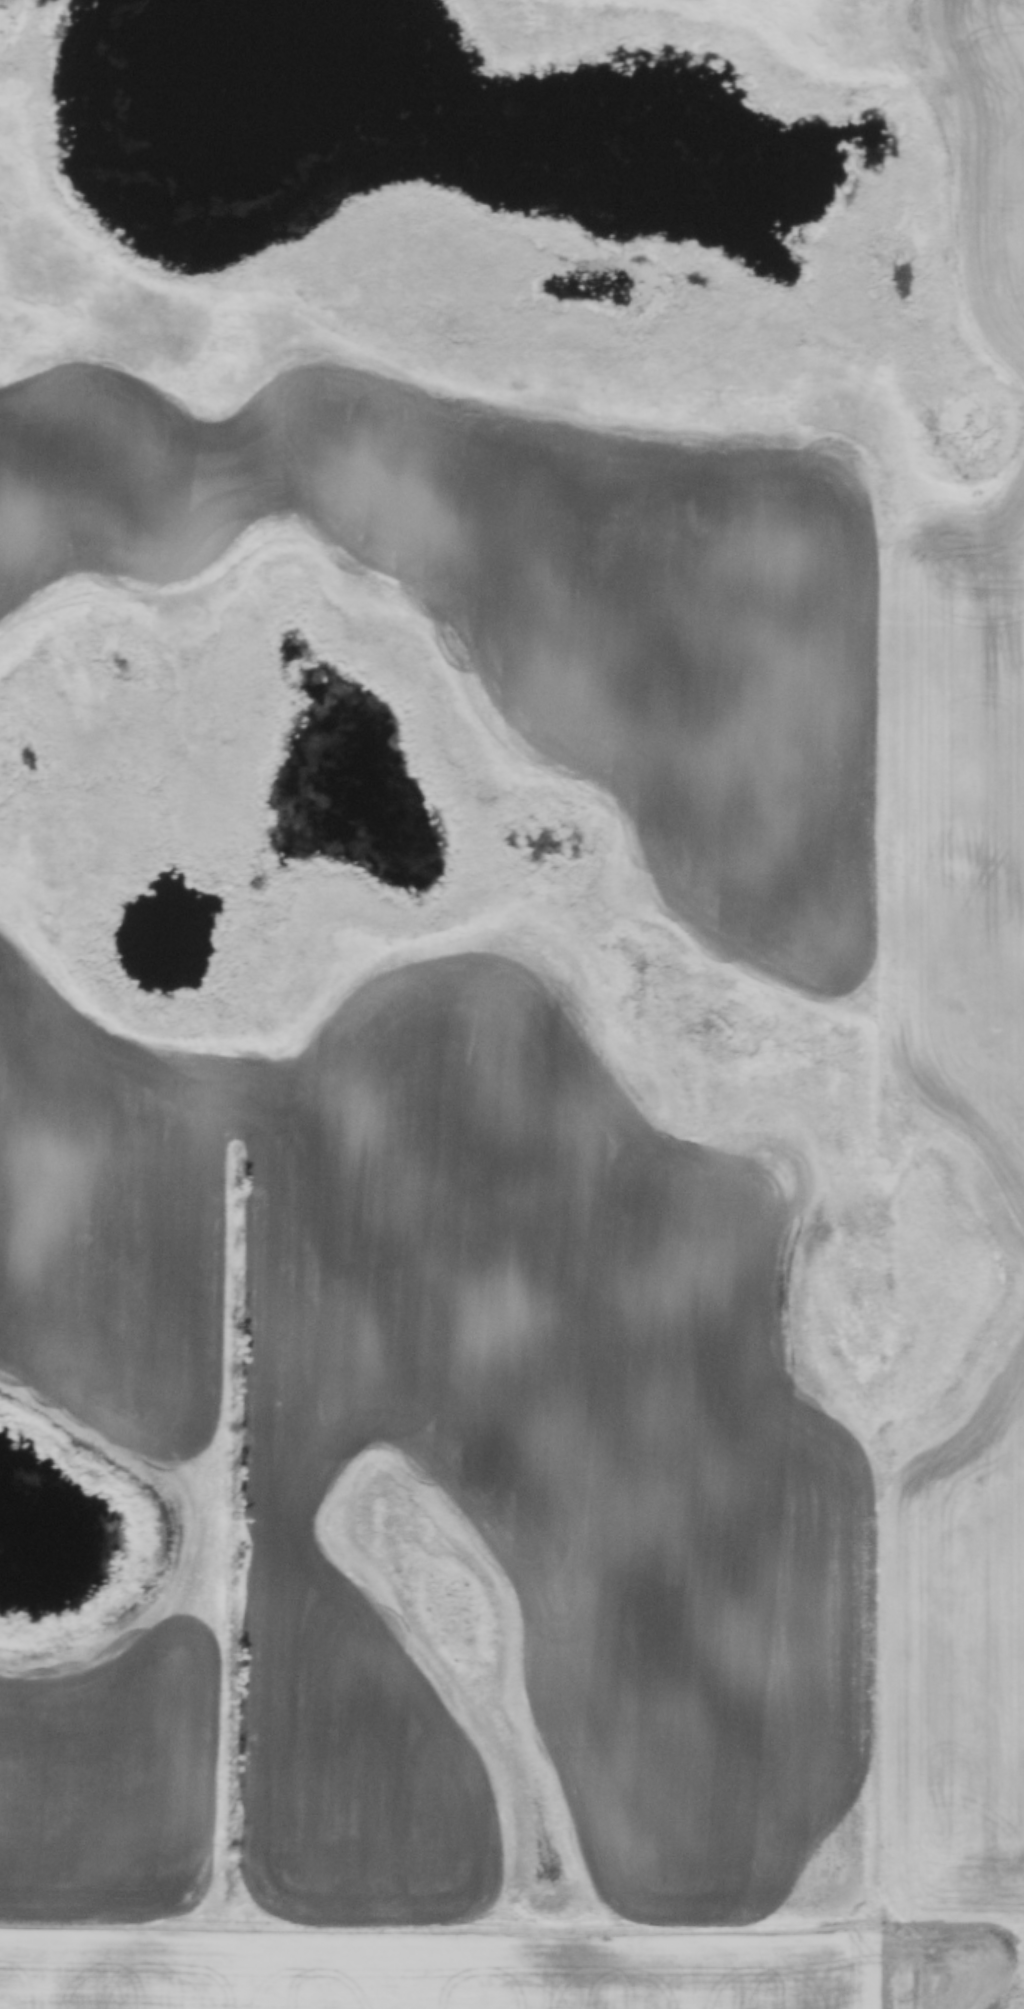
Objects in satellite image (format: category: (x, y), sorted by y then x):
road: (512, 1934)

